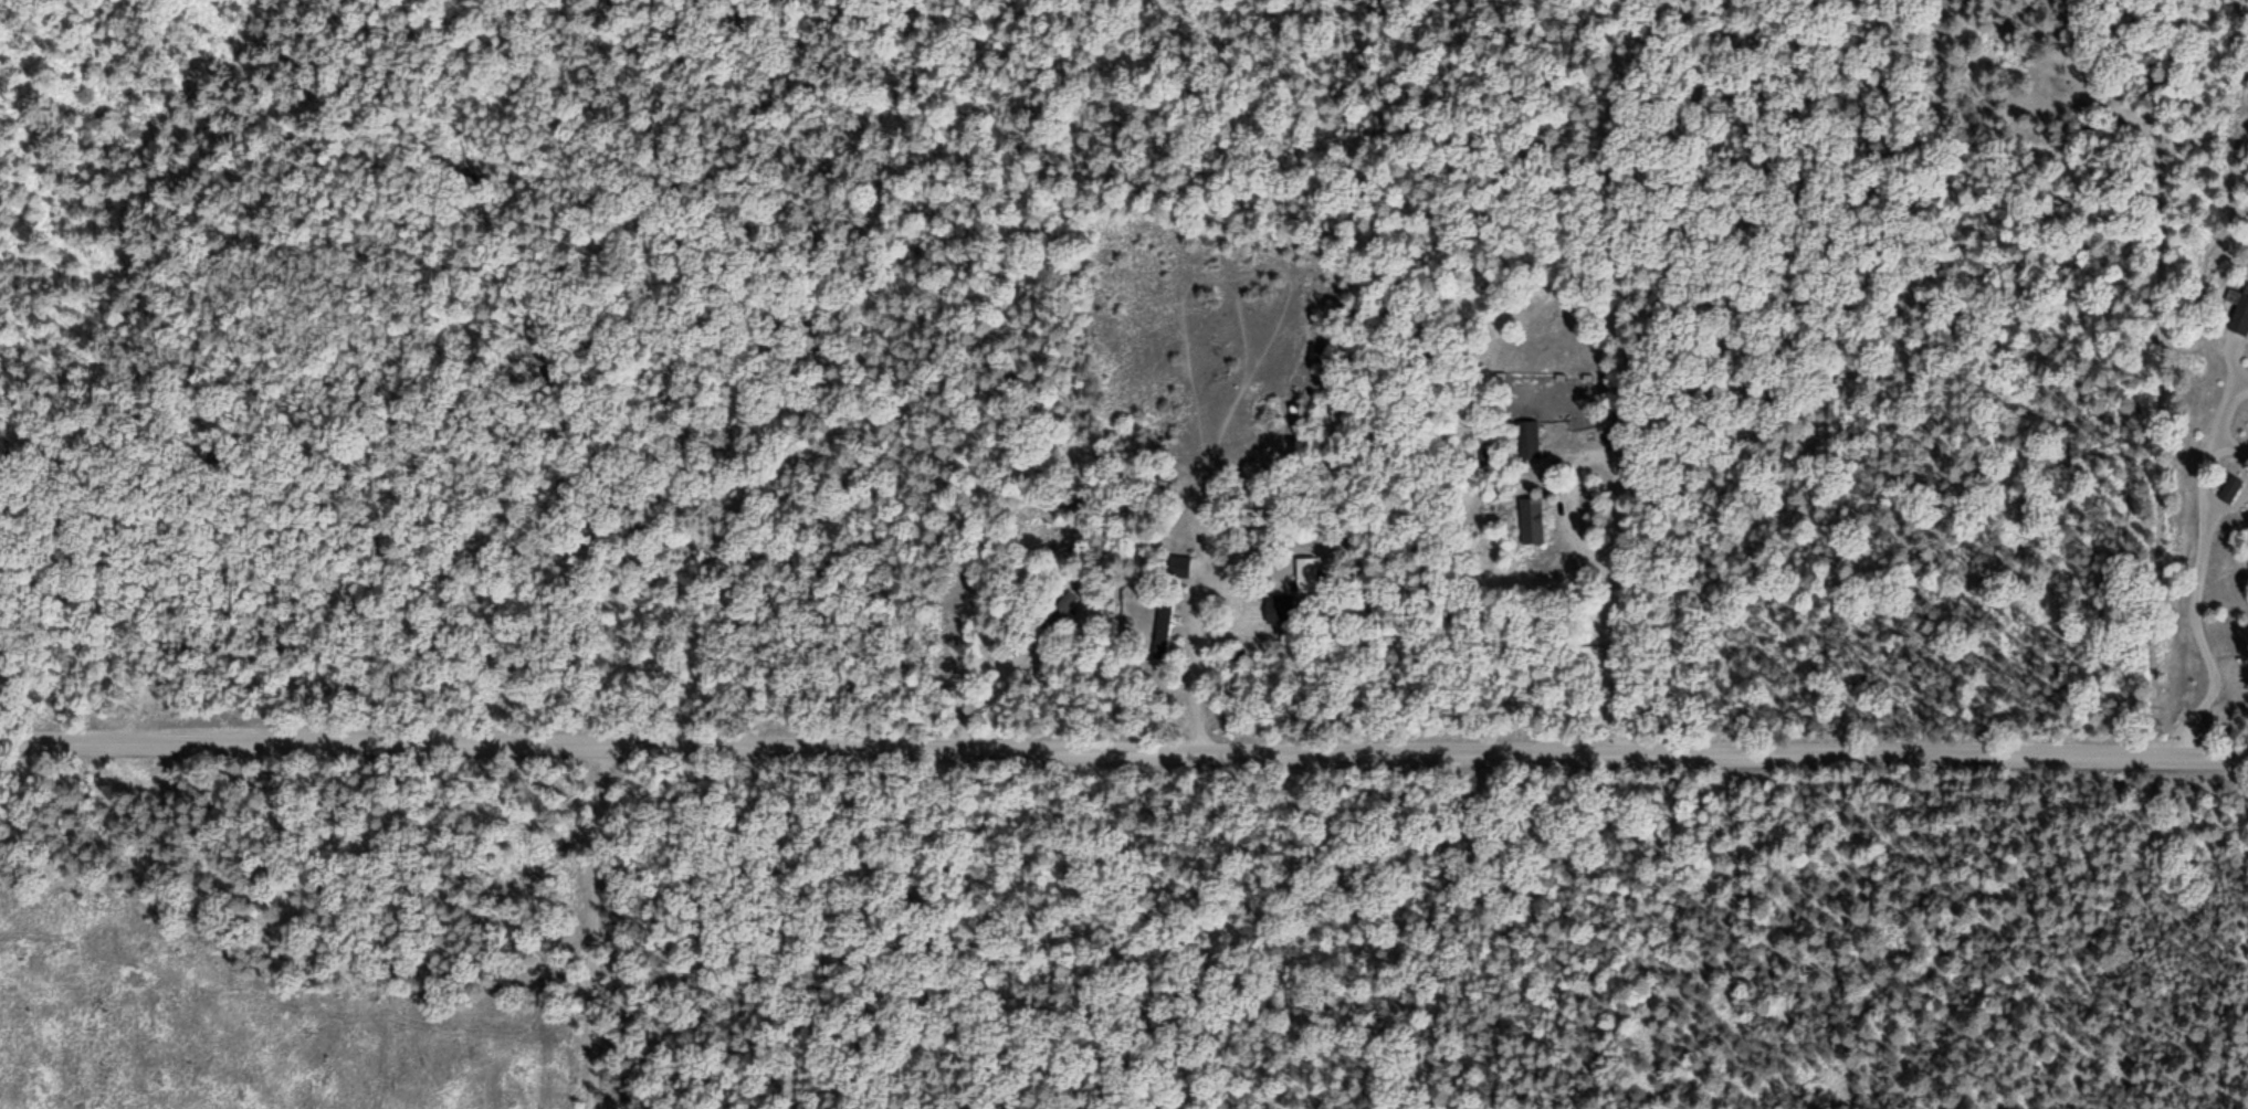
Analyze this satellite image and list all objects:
building: (2240, 314)
building: (1527, 440)
building: (2229, 489)
building: (1531, 520)
building: (1179, 567)
building: (1307, 573)
building: (1280, 608)
building: (1059, 611)
building: (1163, 631)
road: (1123, 748)
road: (600, 926)

